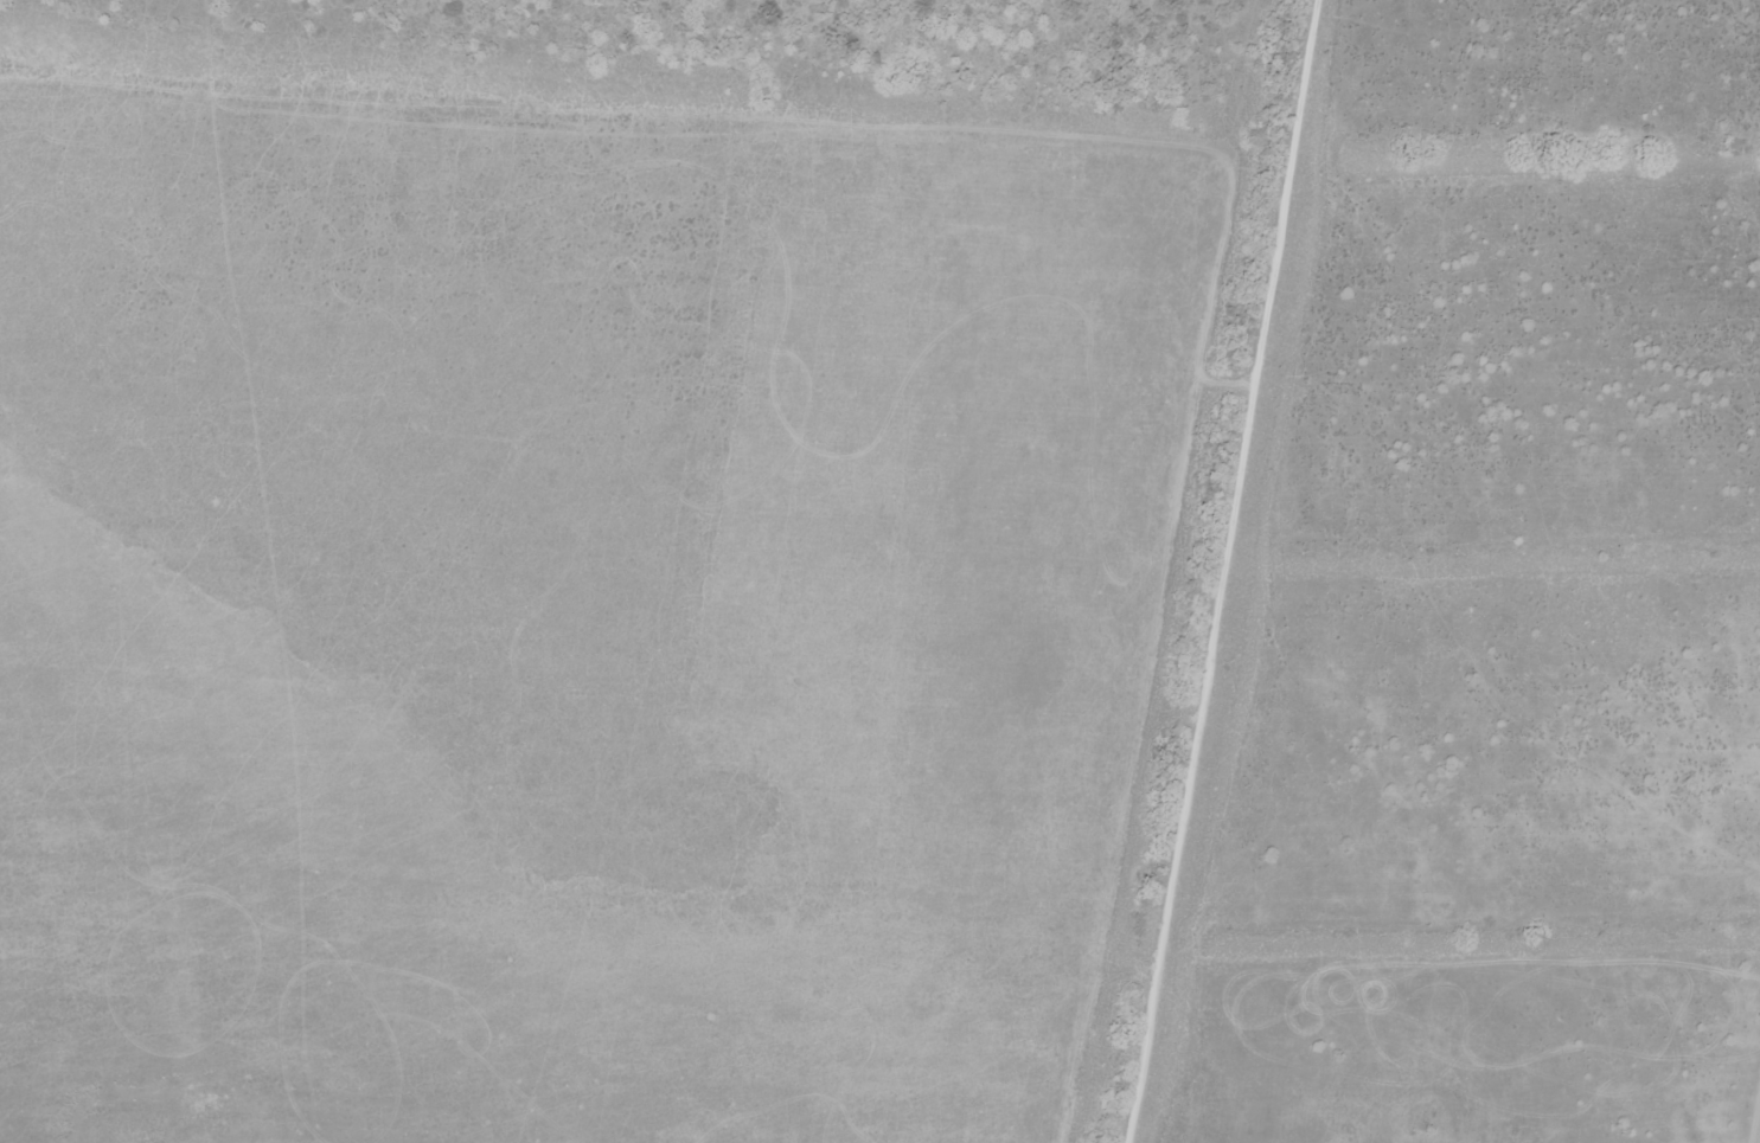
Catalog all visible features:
road: (1227, 571)

